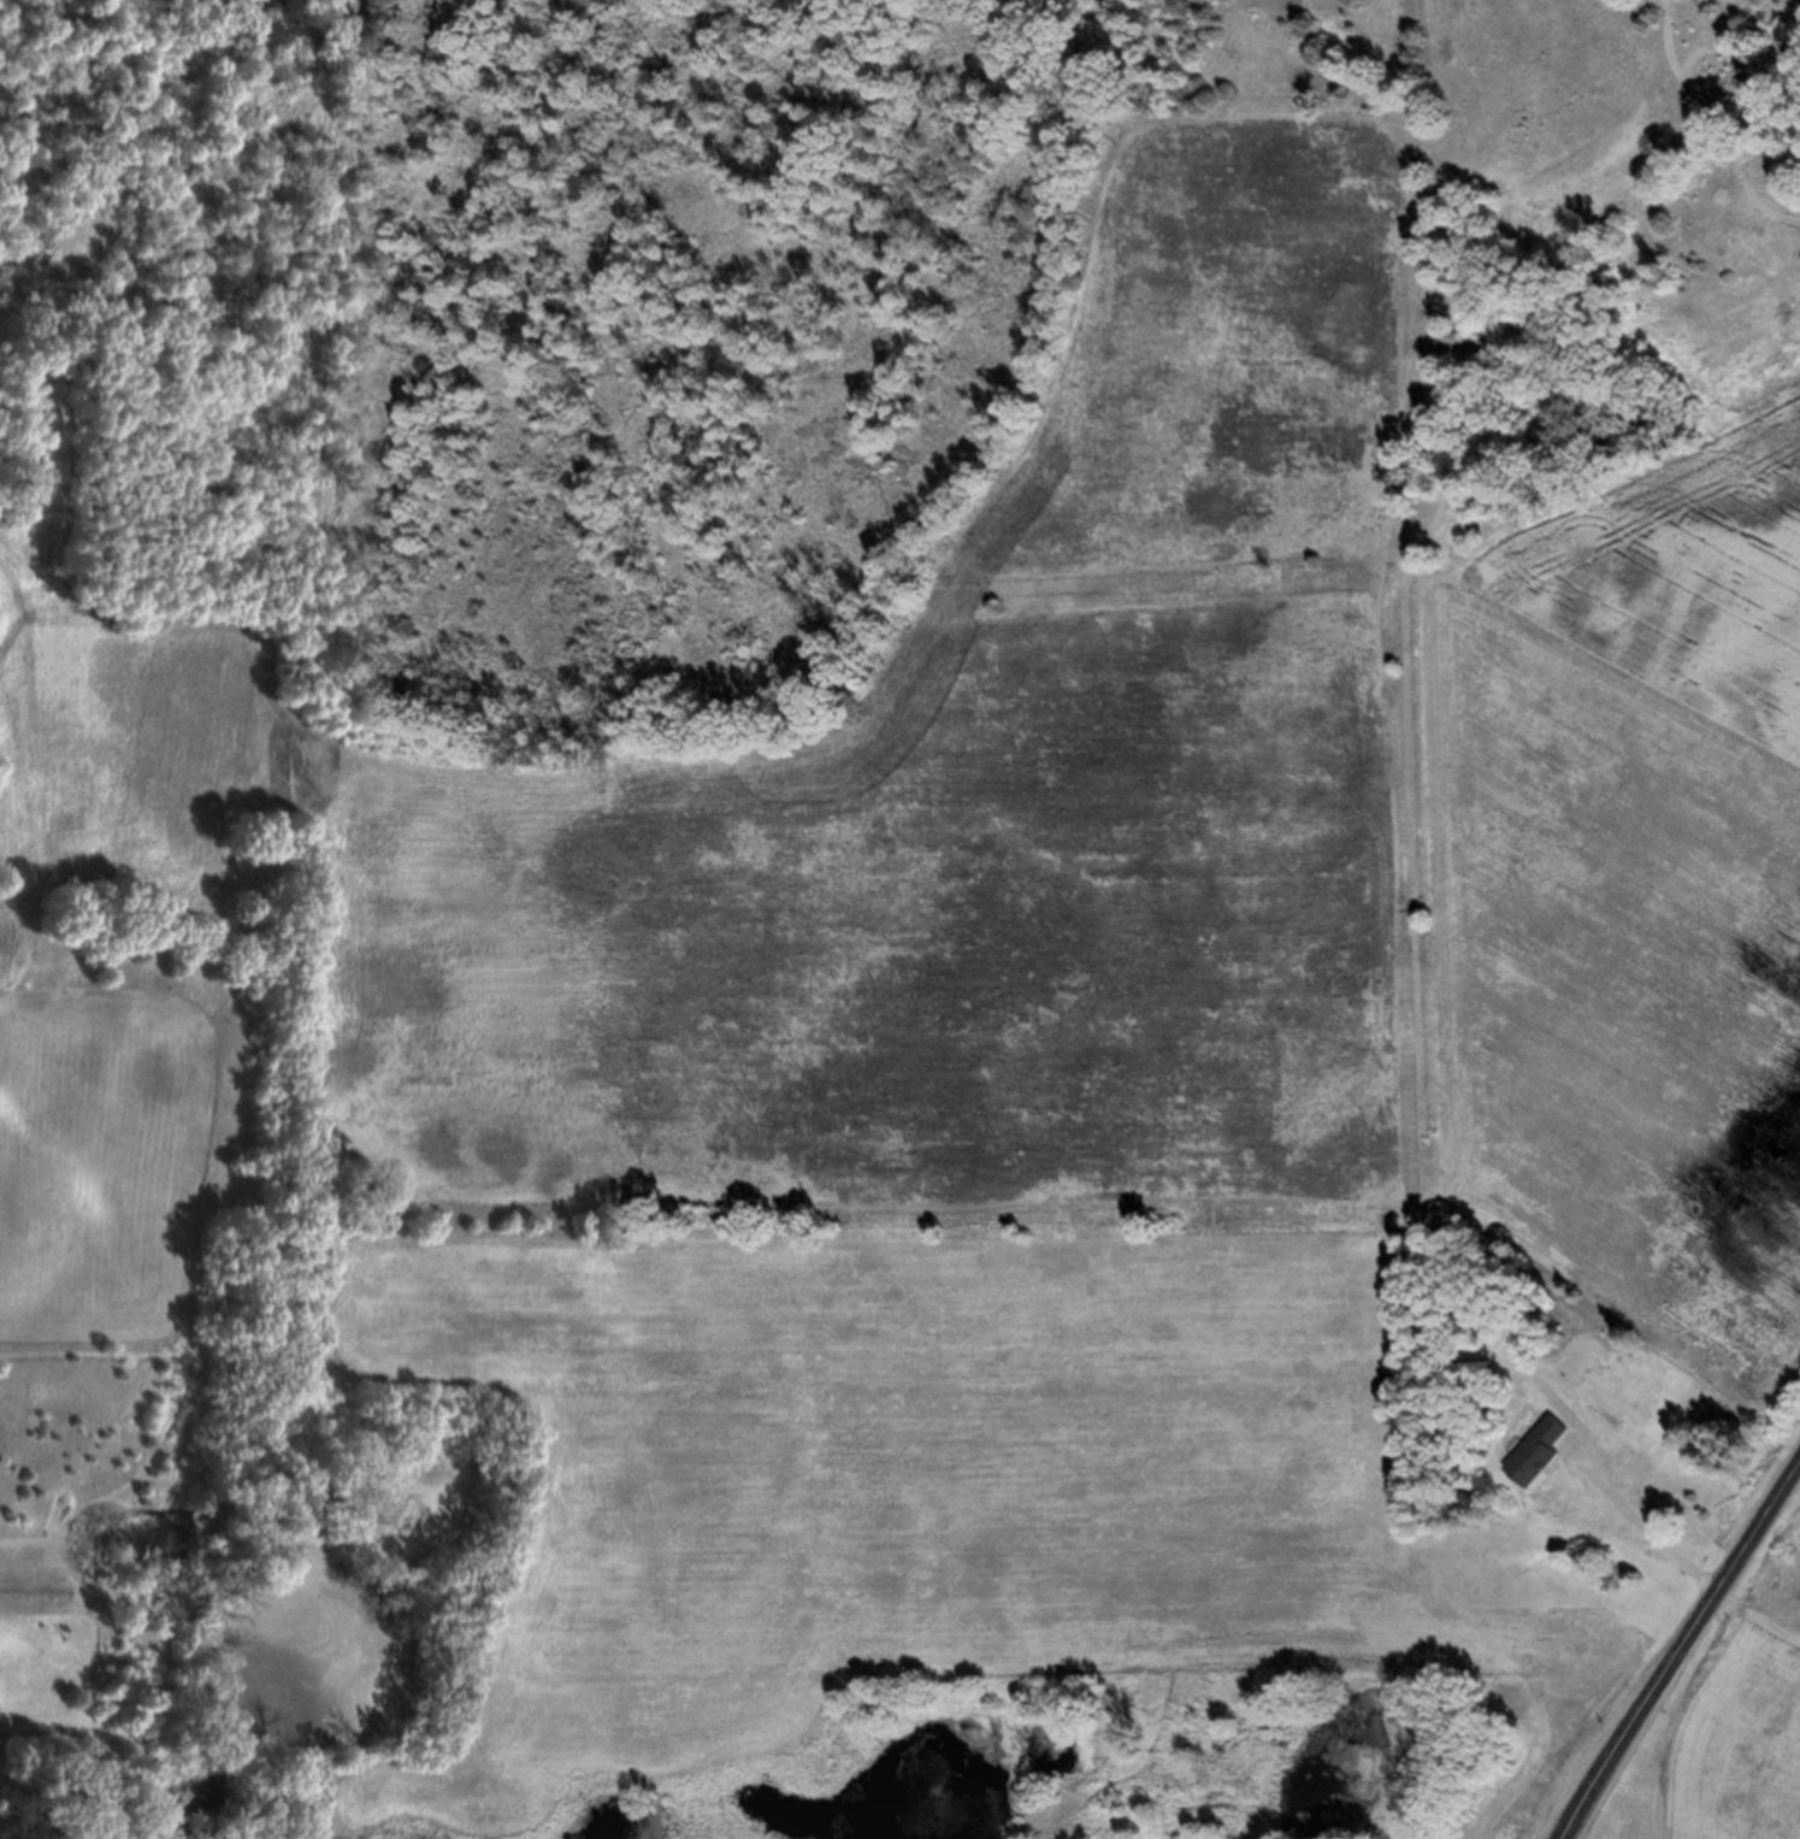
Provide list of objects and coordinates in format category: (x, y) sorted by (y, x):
building: (1471, 1380)
building: (1533, 1463)
road: (1678, 1651)

